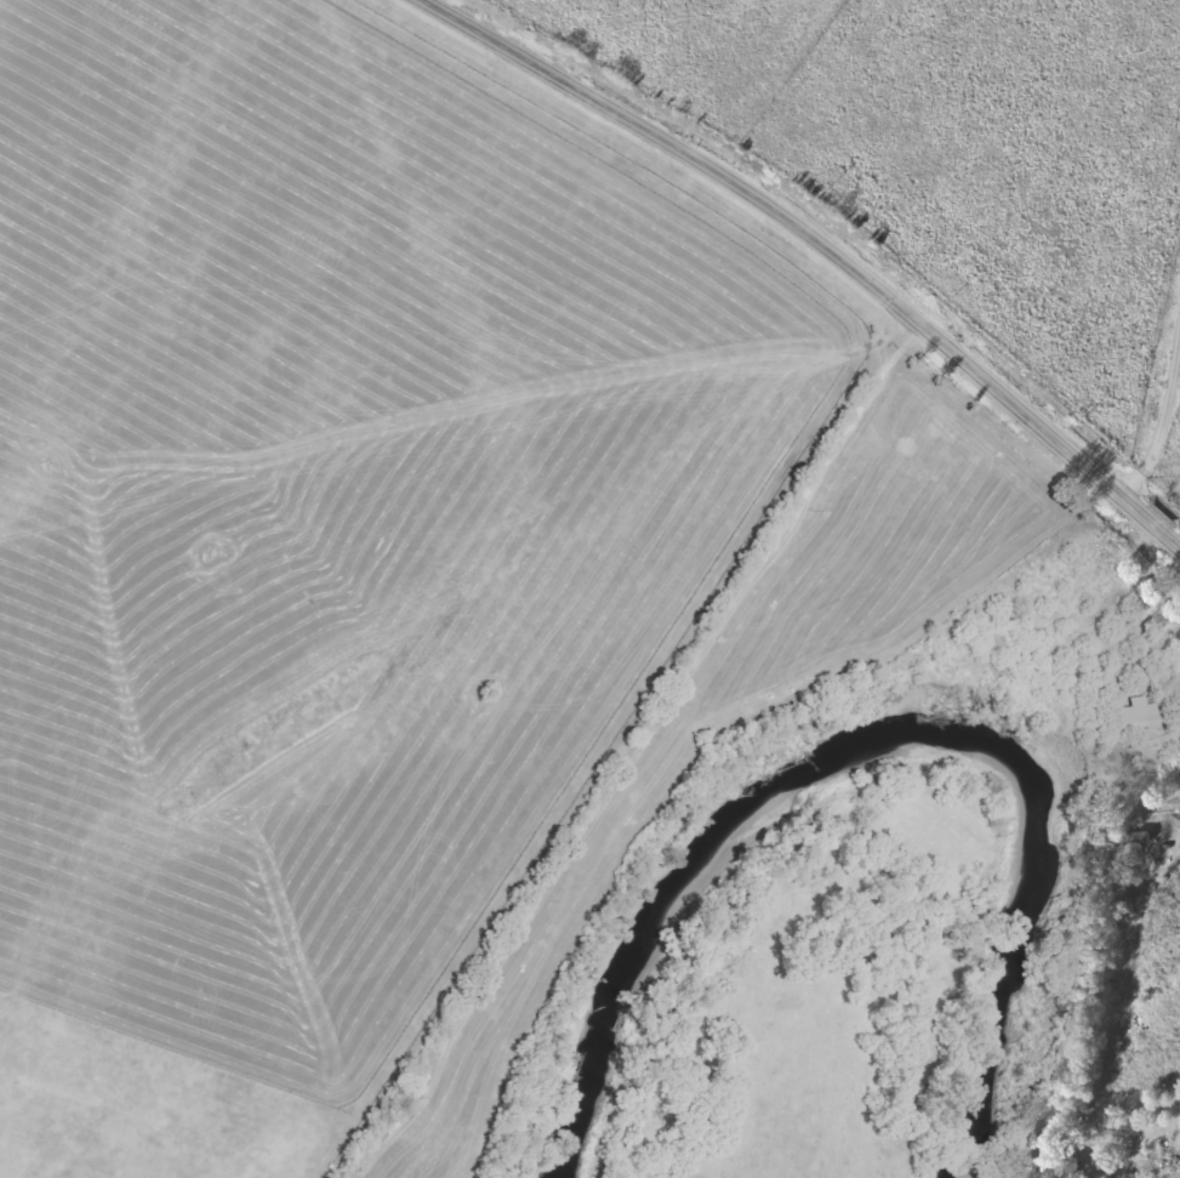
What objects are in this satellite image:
road: (821, 245)
building: (1136, 713)
river: (879, 734)

